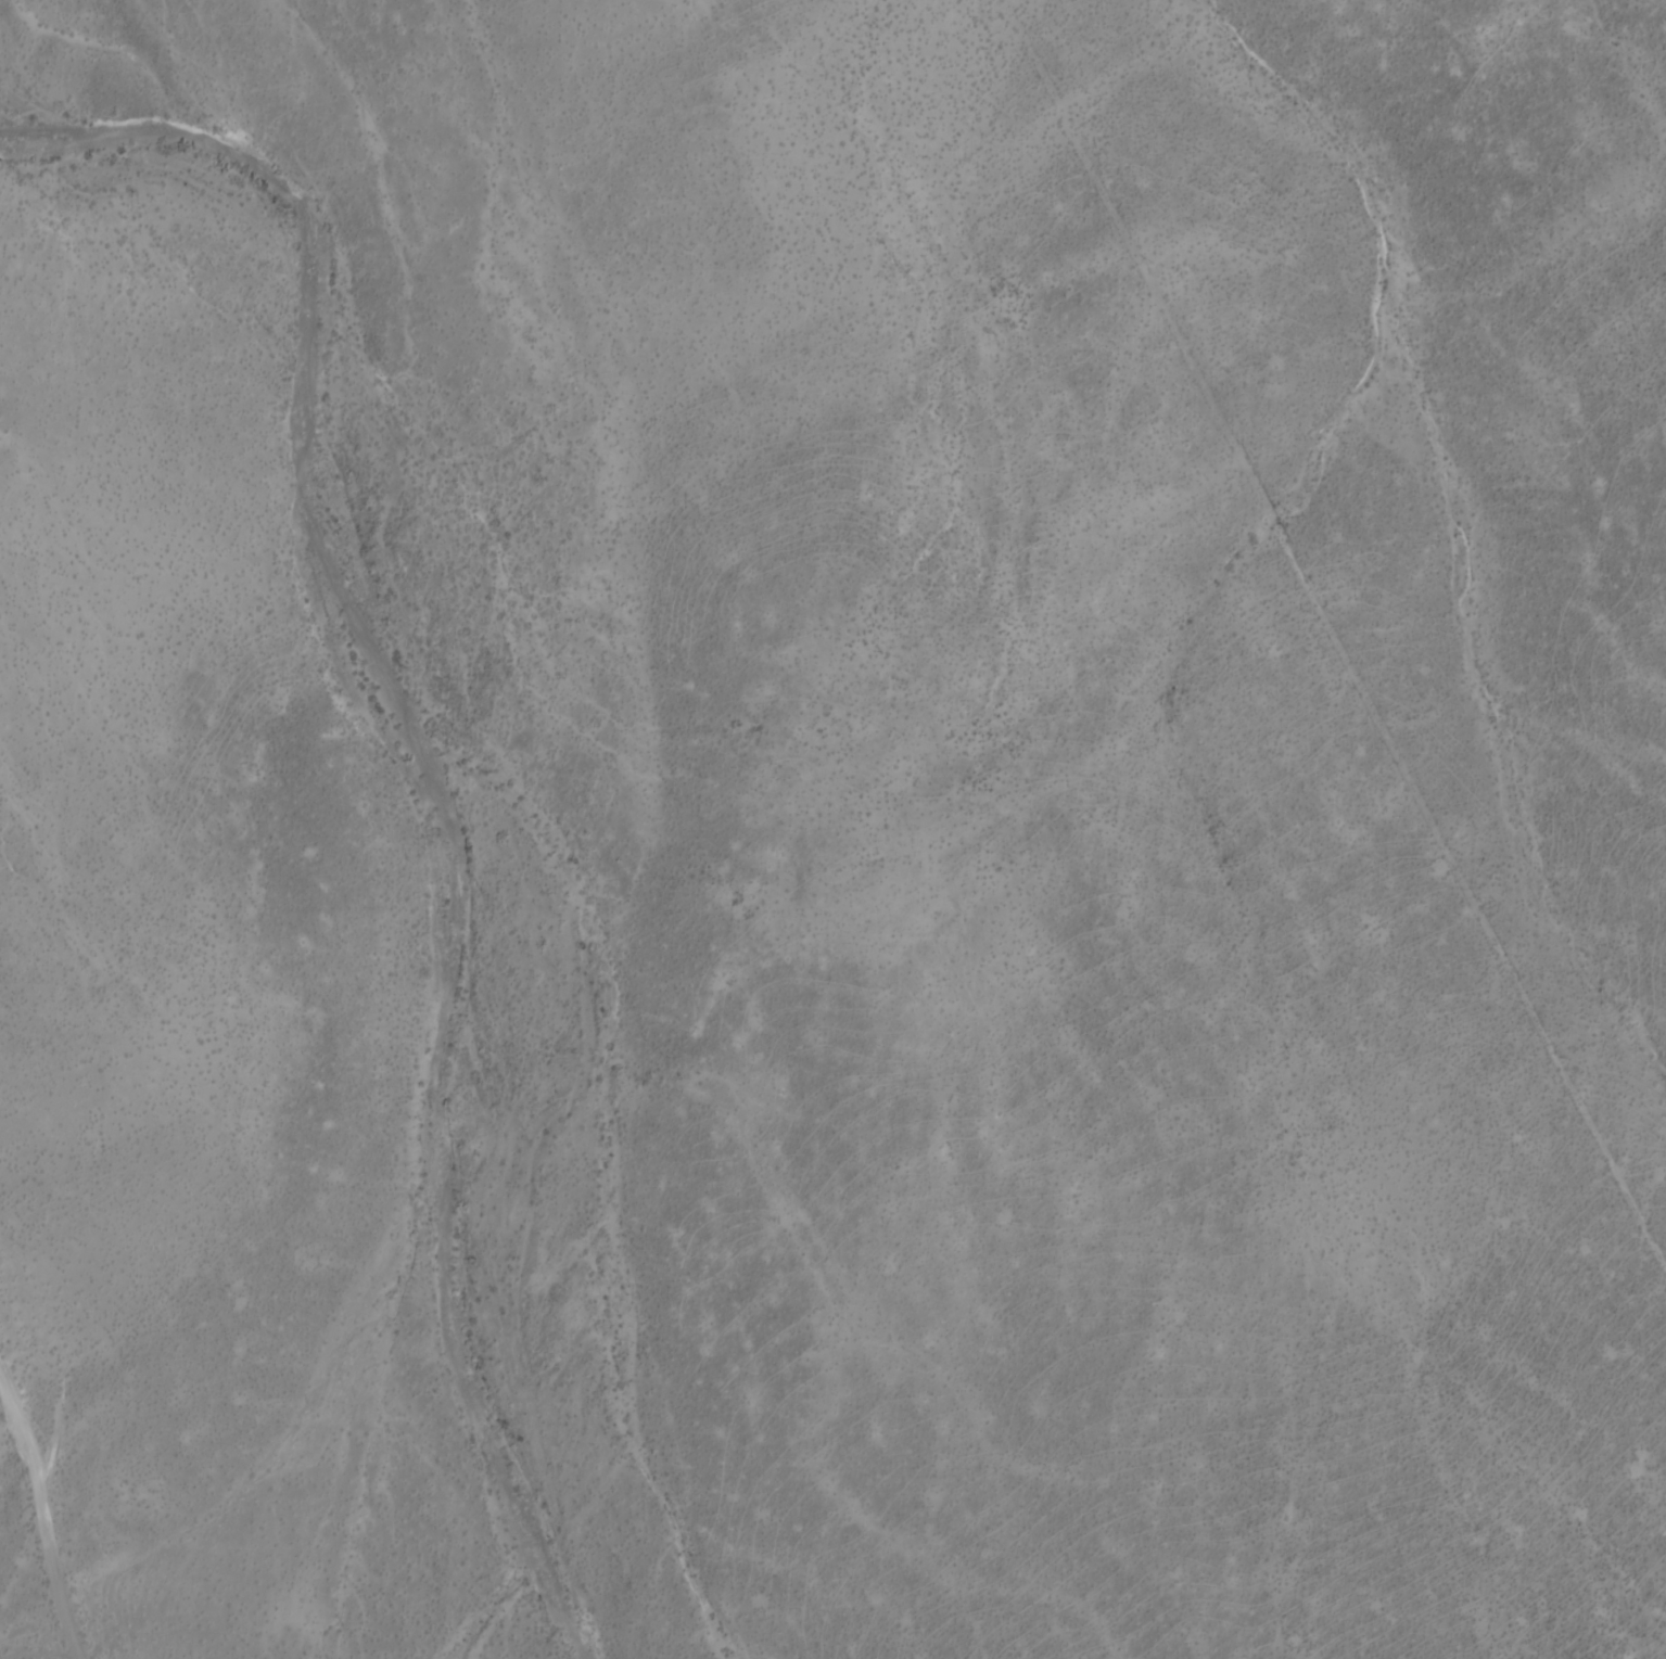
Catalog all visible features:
road: (37, 1523)

